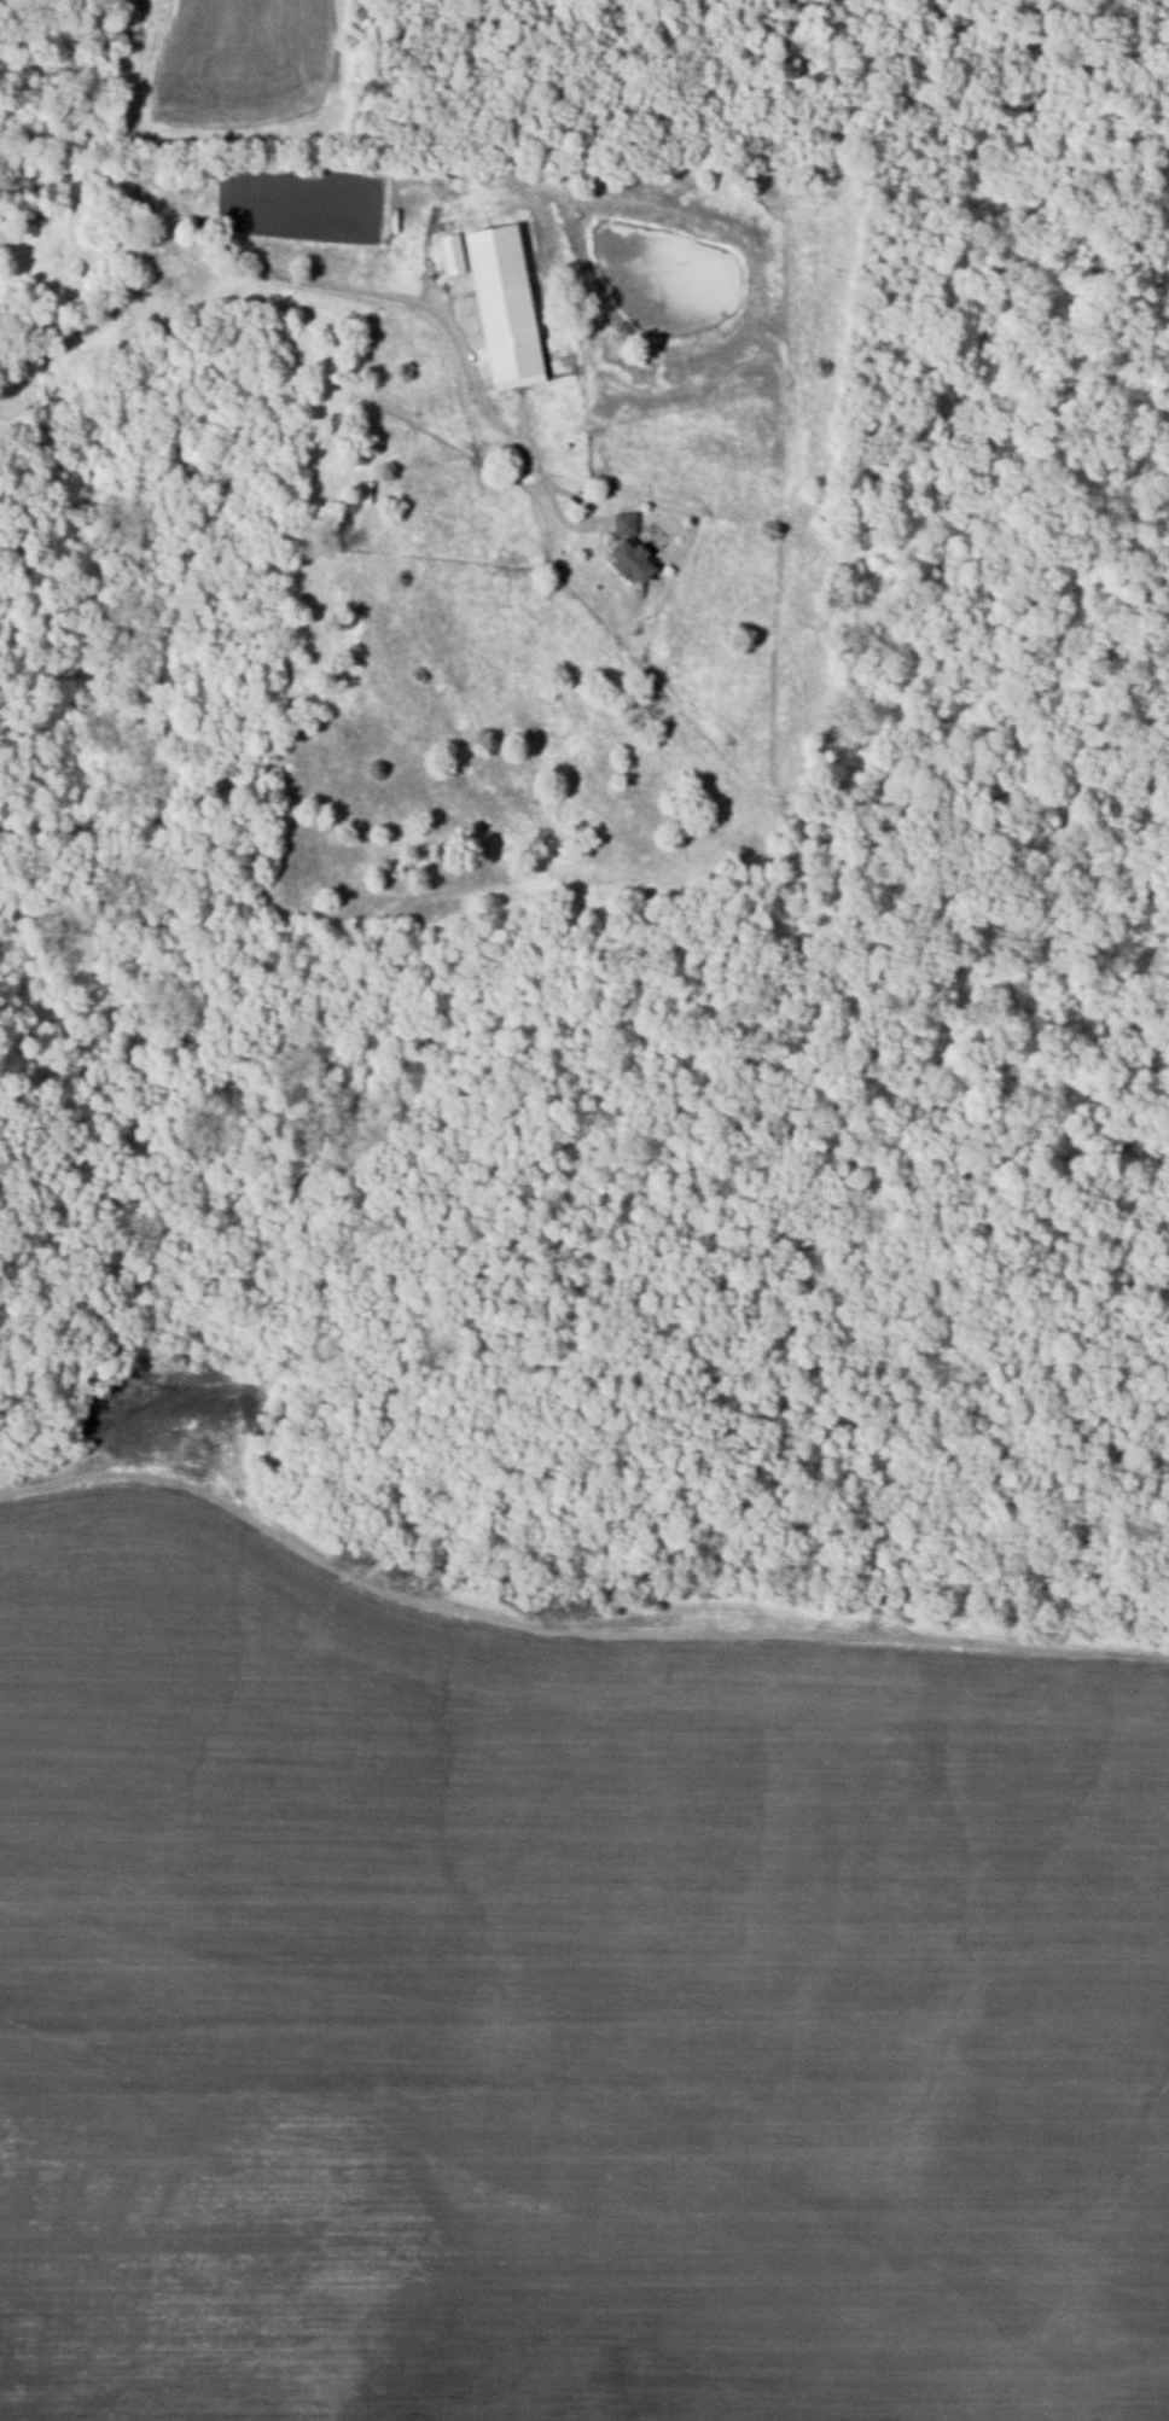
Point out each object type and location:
building: (448, 254)
road: (303, 279)
building: (500, 305)
building: (362, 490)
building: (624, 548)

